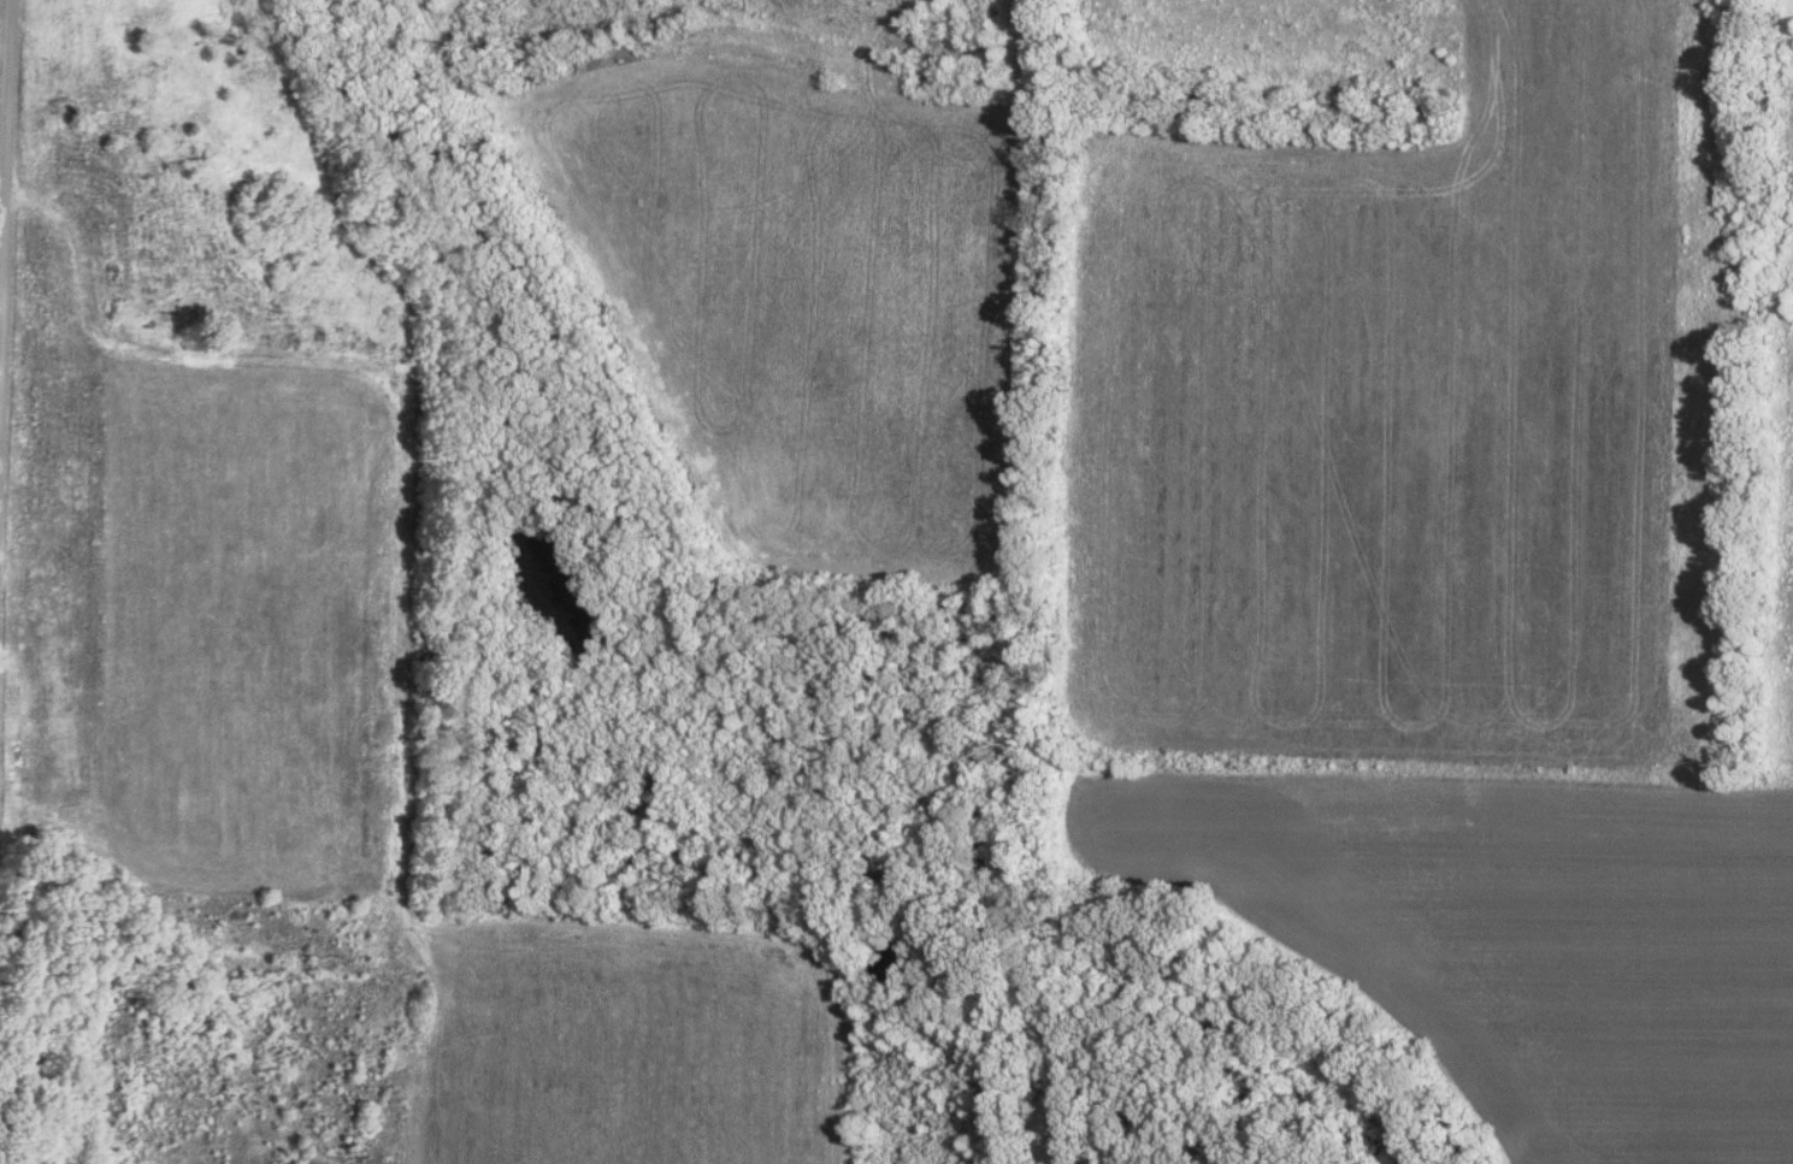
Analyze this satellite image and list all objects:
road: (6, 246)

